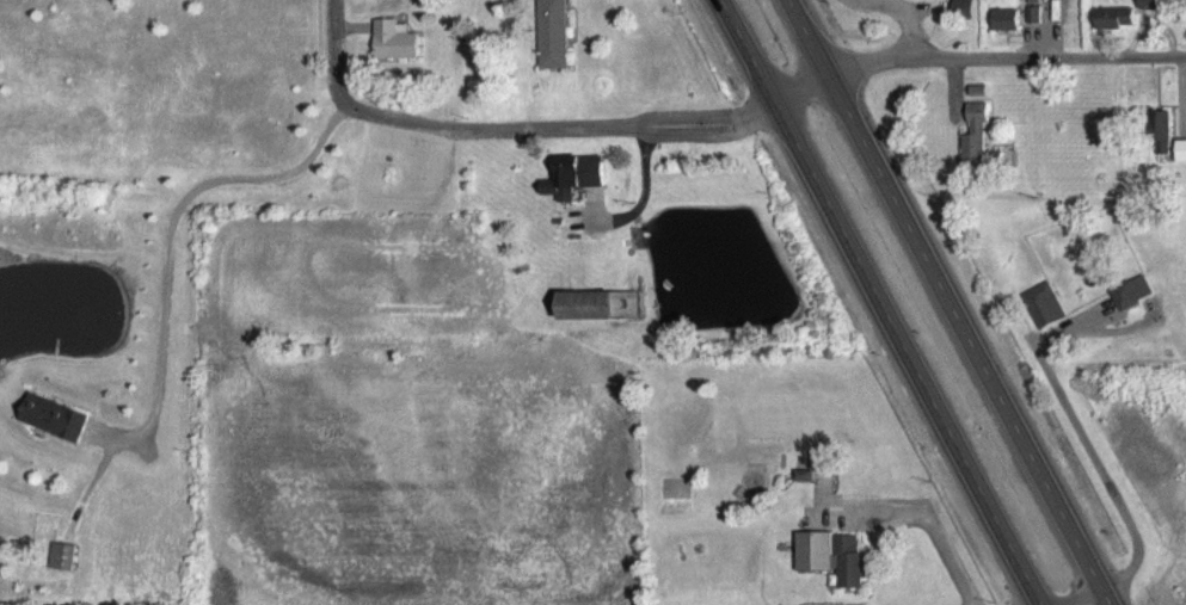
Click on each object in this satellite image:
building: (382, 0)
building: (1147, 13)
road: (907, 20)
building: (961, 21)
building: (1033, 29)
building: (1113, 31)
building: (1006, 33)
building: (553, 44)
road: (1004, 50)
road: (332, 51)
building: (393, 55)
road: (601, 124)
building: (1160, 146)
building: (978, 153)
building: (1181, 163)
building: (574, 190)
road: (172, 230)
road: (955, 302)
road: (871, 303)
building: (1131, 305)
building: (598, 319)
building: (1043, 319)
building: (54, 431)
road: (1092, 444)
building: (803, 489)
road: (940, 530)
building: (61, 570)
building: (832, 570)
road: (1087, 597)

